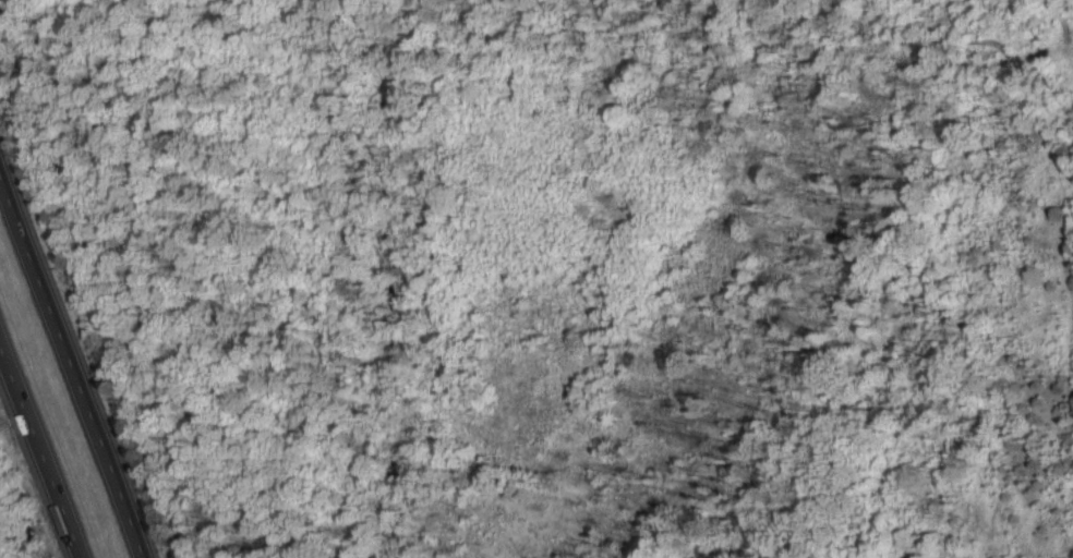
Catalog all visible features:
road: (73, 362)
road: (40, 449)

